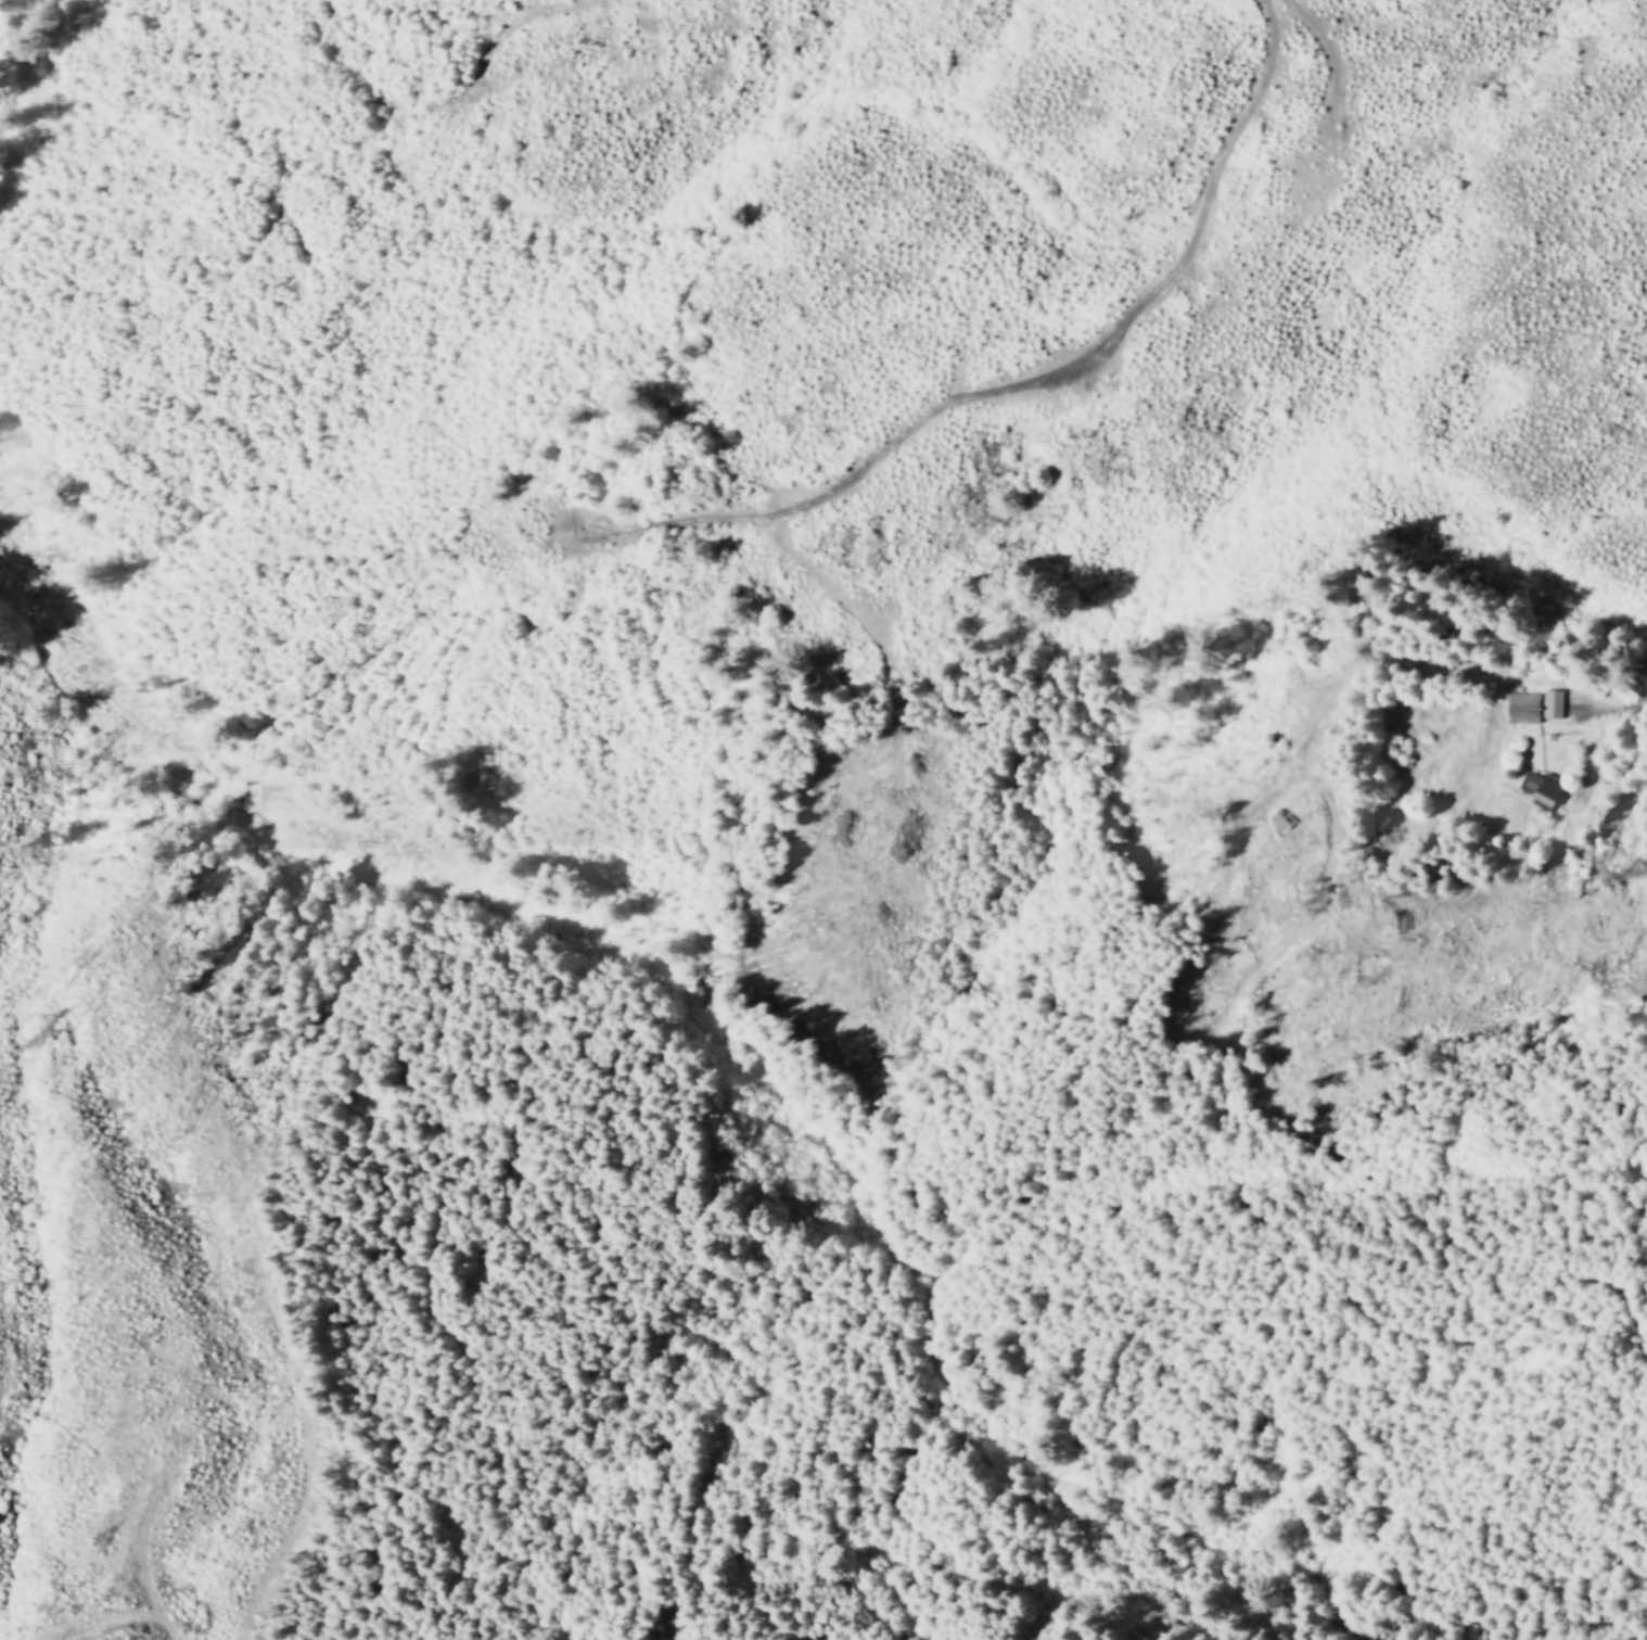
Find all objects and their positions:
building: (1533, 705)
road: (1616, 716)
building: (1537, 789)

